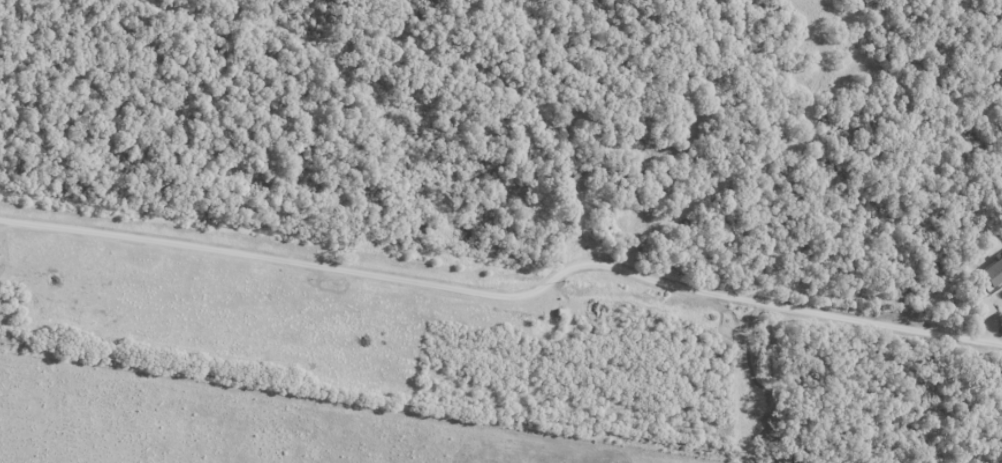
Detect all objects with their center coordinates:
building: (570, 182)
road: (507, 294)

